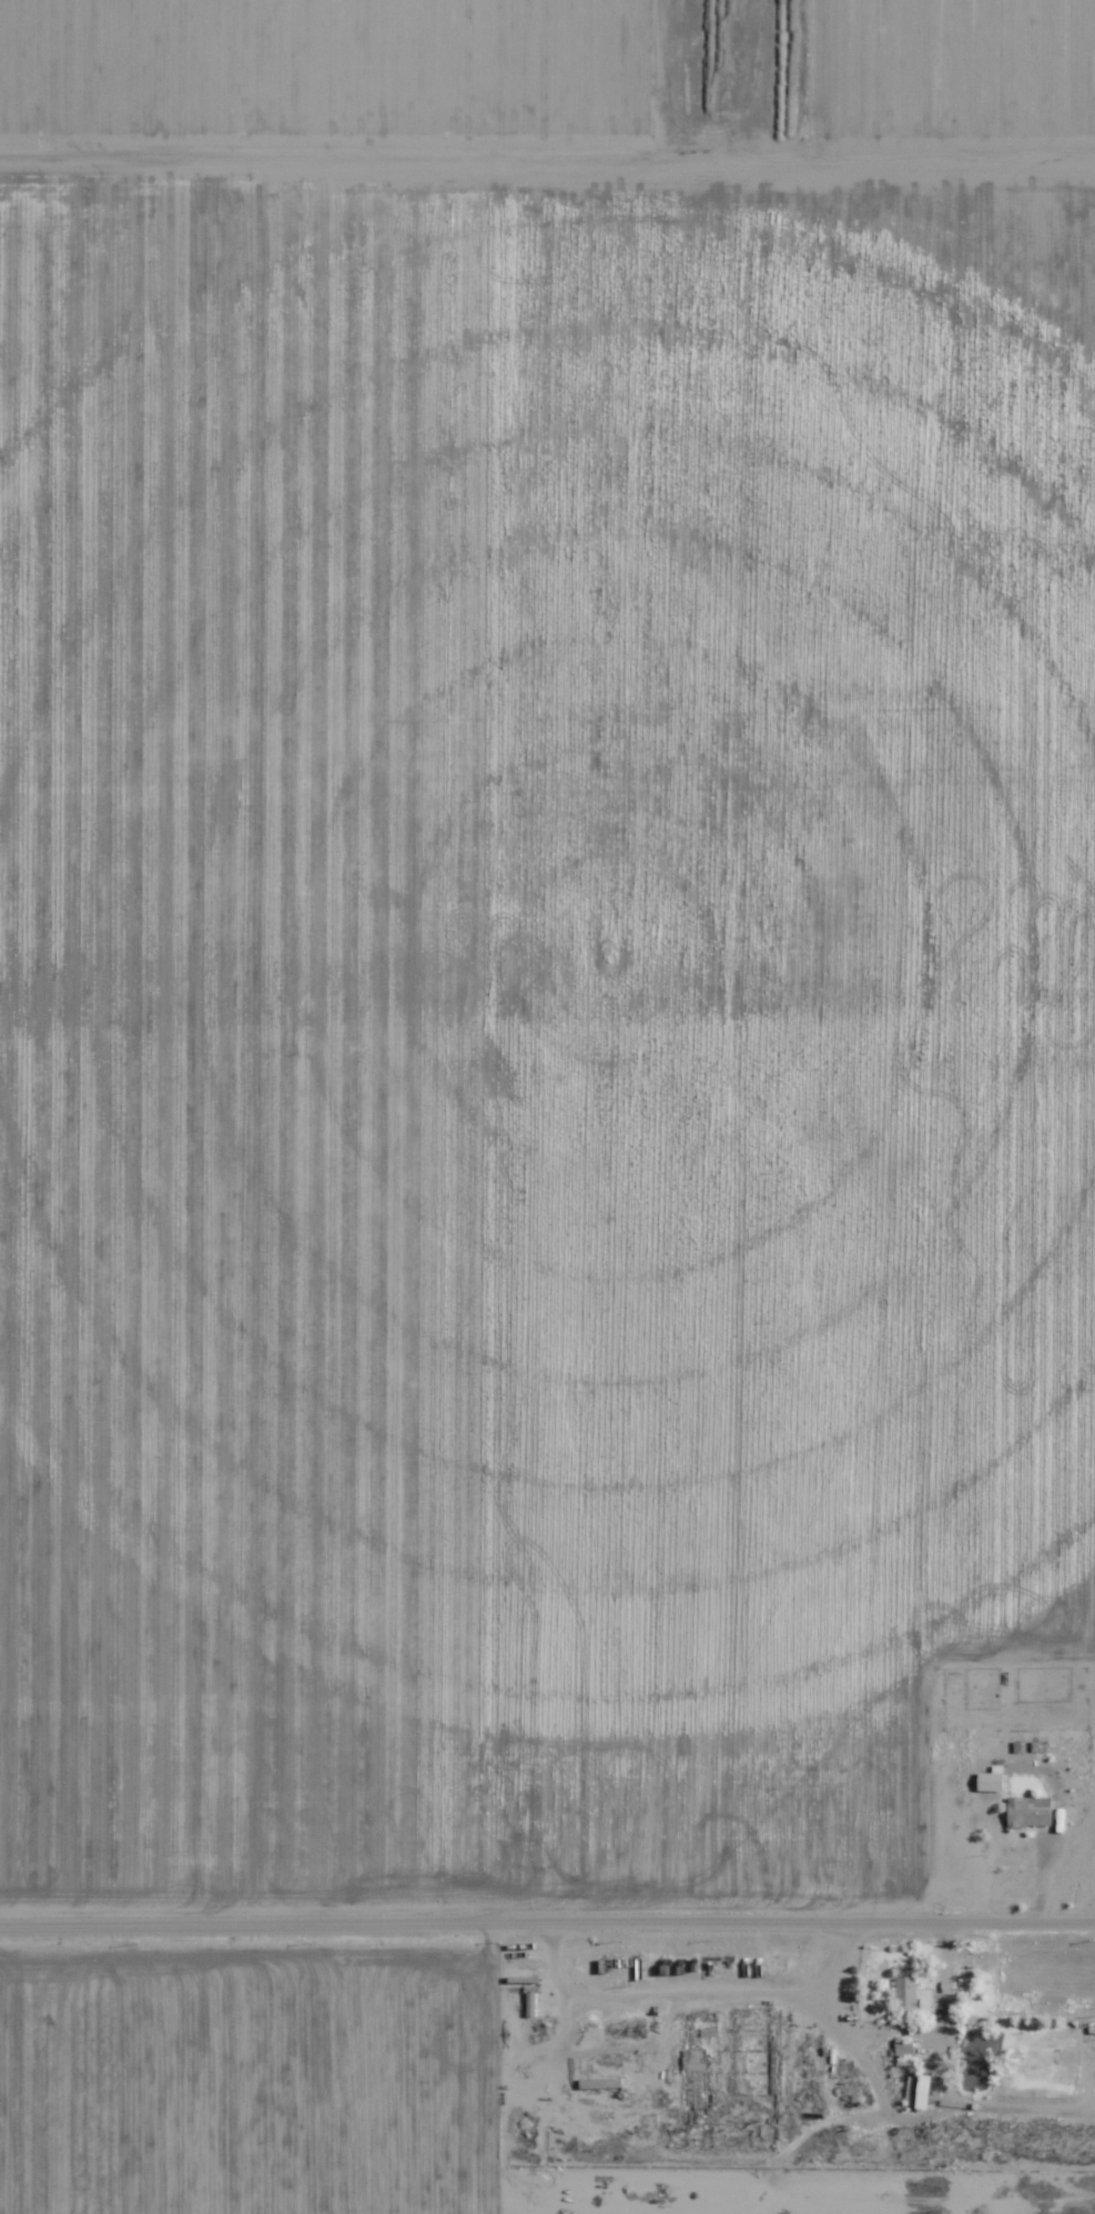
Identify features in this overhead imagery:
building: (990, 1780)
building: (1028, 1811)
road: (547, 1900)
building: (905, 1992)
building: (694, 2079)
building: (605, 2083)
building: (923, 2091)

